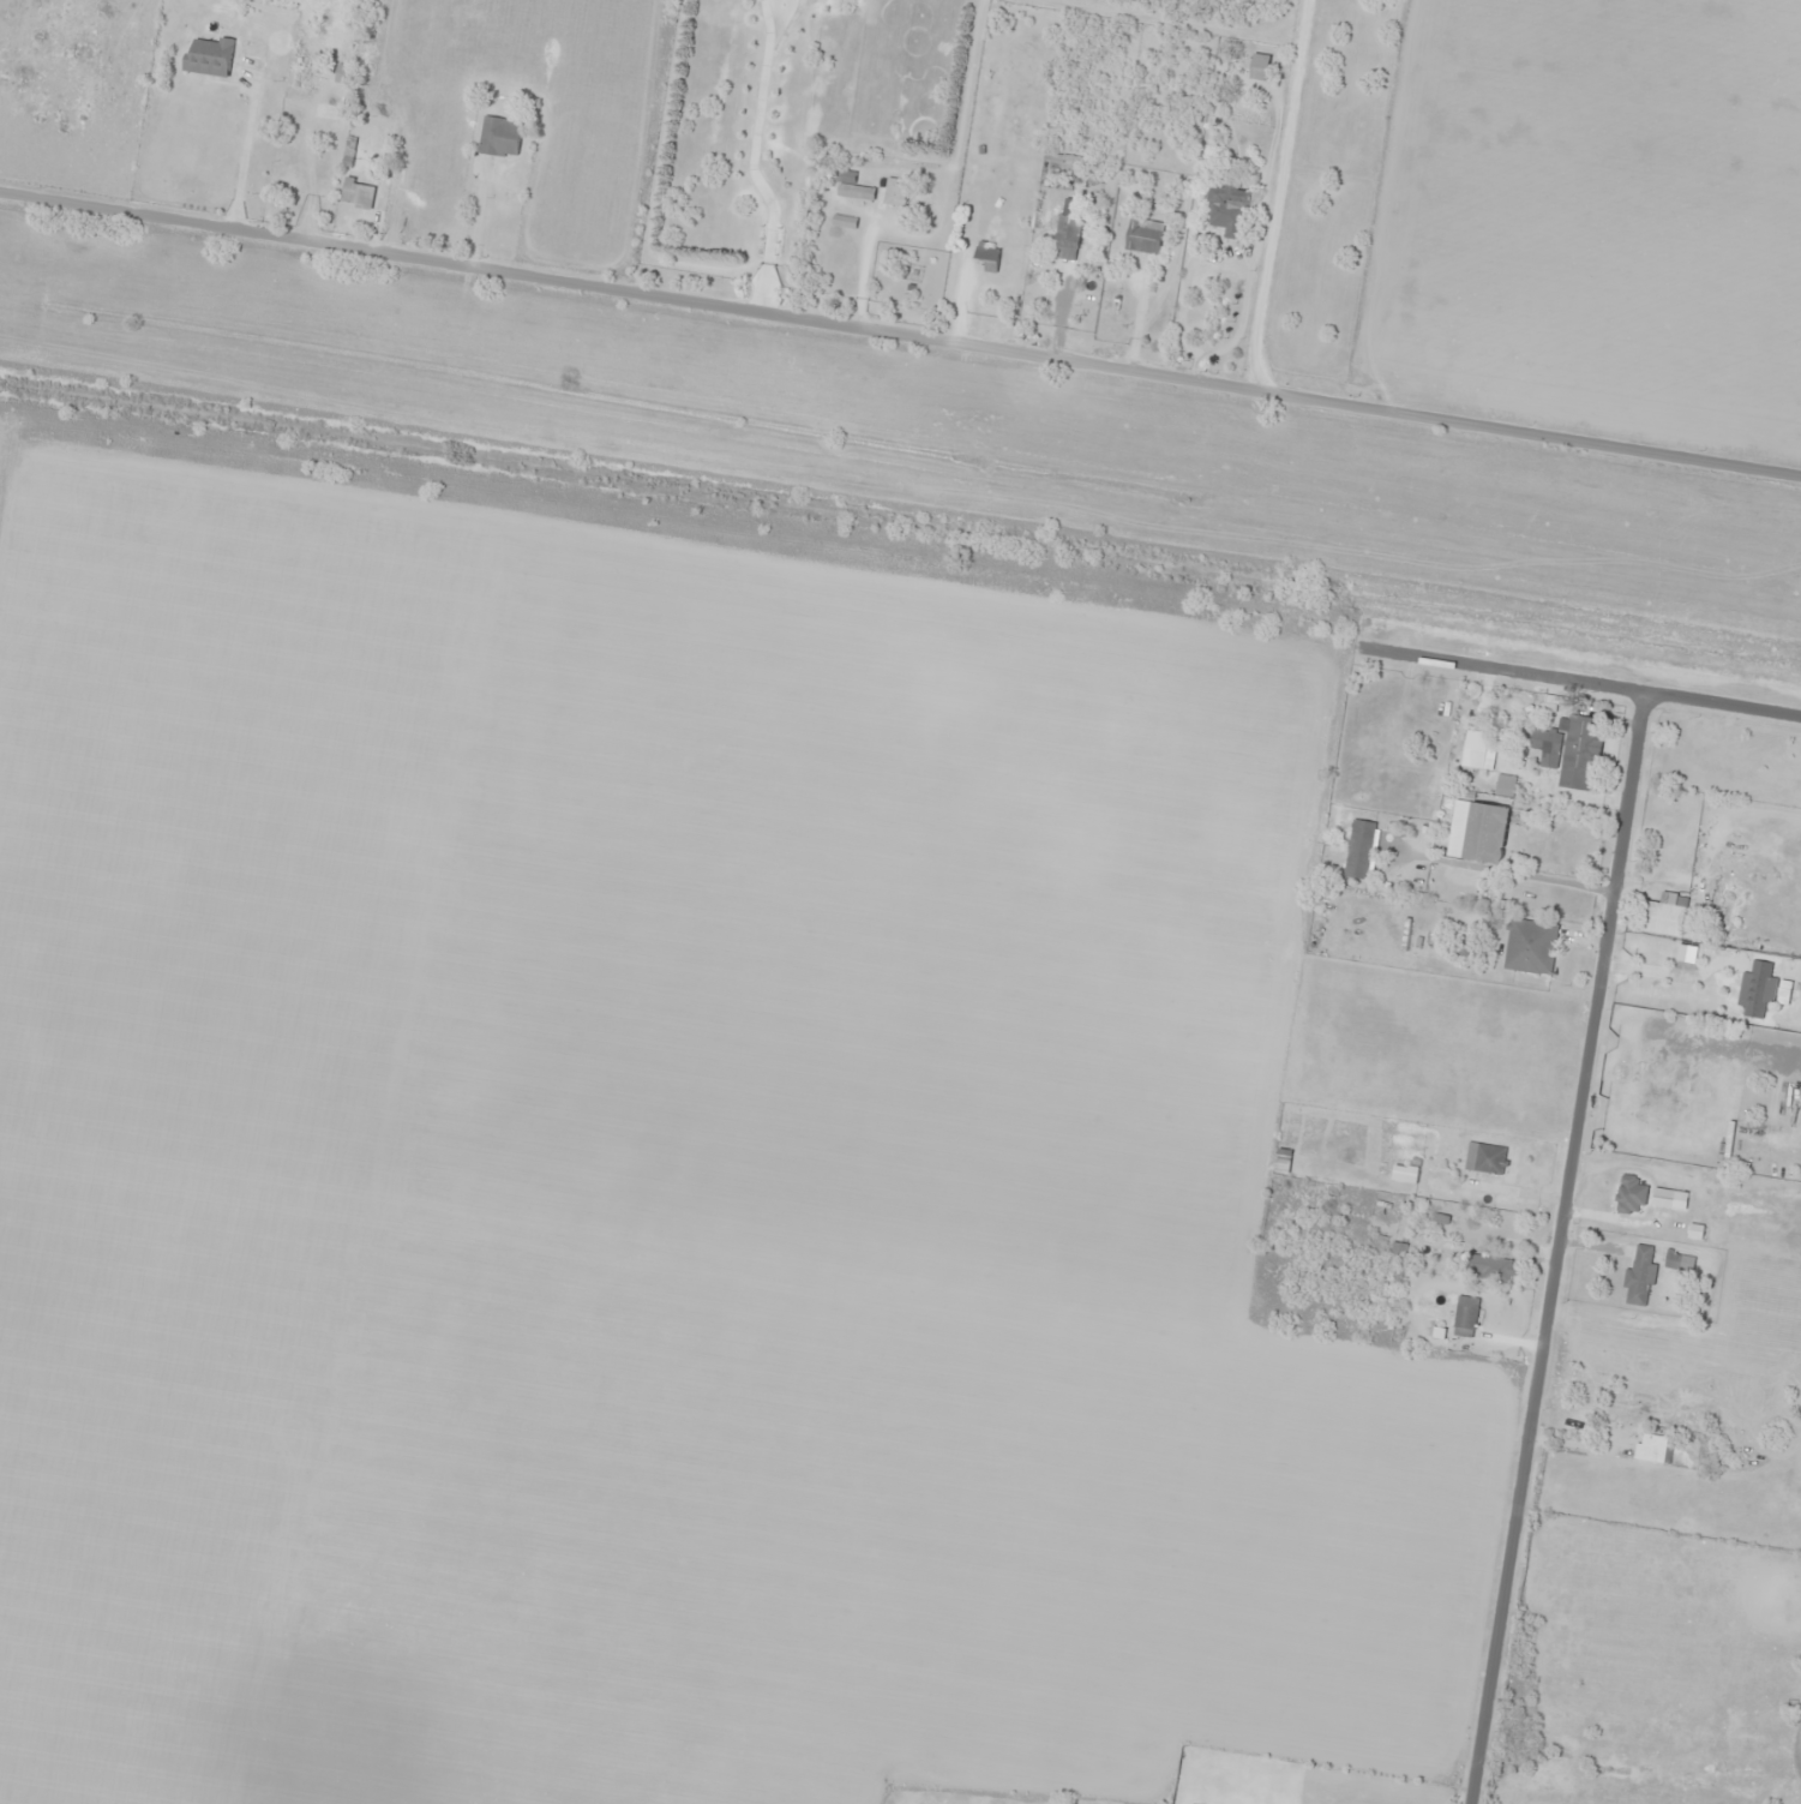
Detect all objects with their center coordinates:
building: (210, 56)
building: (1259, 66)
building: (499, 136)
building: (856, 192)
building: (895, 192)
building: (356, 194)
building: (1215, 209)
building: (1068, 229)
building: (1143, 235)
building: (986, 257)
road: (900, 334)
road: (1574, 676)
building: (1477, 750)
building: (1569, 750)
building: (1505, 784)
building: (1485, 832)
building: (1361, 850)
building: (1663, 916)
building: (1530, 946)
building: (1757, 989)
building: (1485, 1158)
building: (1281, 1161)
building: (1405, 1174)
building: (1693, 1201)
road: (1556, 1246)
building: (1398, 1253)
building: (1679, 1261)
building: (1489, 1267)
building: (1640, 1276)
building: (1465, 1317)
building: (1652, 1449)

